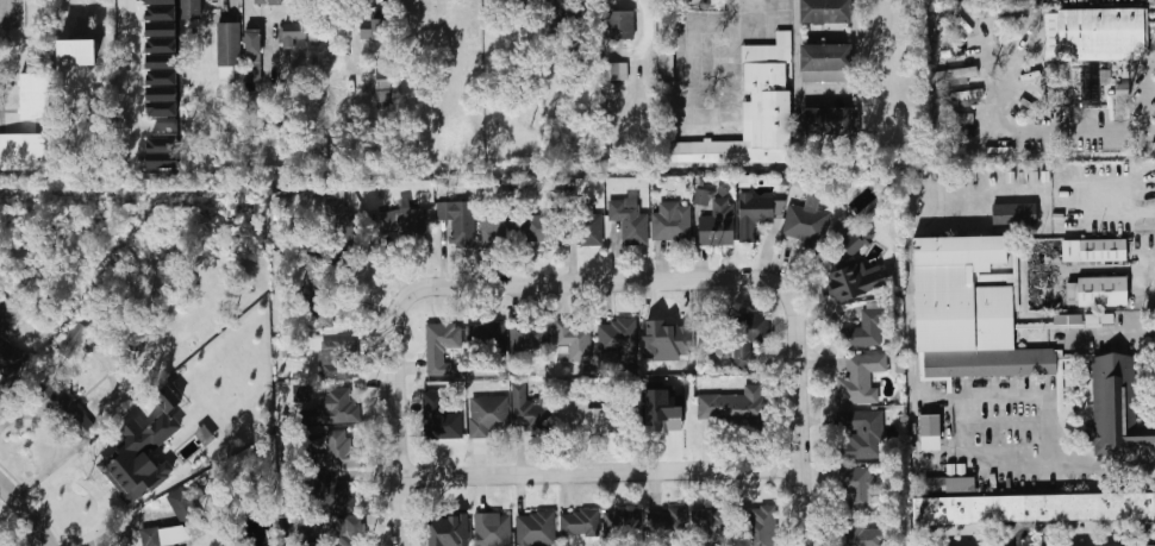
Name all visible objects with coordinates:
building: (268, 2)
building: (516, 2)
building: (1022, 2)
building: (189, 10)
building: (423, 10)
road: (5, 12)
building: (826, 12)
building: (550, 17)
building: (620, 25)
building: (161, 26)
building: (1105, 27)
building: (374, 29)
building: (292, 33)
road: (770, 36)
building: (313, 39)
building: (229, 44)
road: (794, 44)
road: (856, 45)
building: (252, 46)
building: (74, 52)
building: (825, 58)
road: (130, 62)
road: (737, 63)
building: (619, 73)
building: (964, 73)
road: (694, 74)
building: (385, 75)
building: (1092, 82)
building: (162, 86)
road: (824, 92)
building: (32, 96)
building: (961, 96)
road: (1142, 103)
building: (755, 113)
building: (959, 118)
building: (829, 120)
road: (1041, 131)
building: (23, 152)
building: (162, 152)
building: (703, 197)
building: (333, 199)
building: (756, 213)
building: (336, 215)
building: (1016, 215)
building: (460, 220)
building: (631, 222)
building: (405, 224)
building: (673, 224)
building: (718, 224)
building: (806, 224)
building: (844, 226)
building: (538, 228)
building: (591, 231)
building: (493, 232)
building: (855, 243)
building: (1104, 250)
building: (854, 281)
road: (600, 282)
building: (1104, 291)
building: (318, 309)
building: (968, 313)
building: (7, 316)
building: (1068, 320)
building: (866, 331)
building: (737, 334)
building: (529, 335)
building: (573, 337)
building: (619, 338)
building: (71, 339)
building: (487, 339)
building: (666, 340)
building: (437, 349)
building: (339, 360)
building: (861, 382)
building: (302, 393)
building: (741, 404)
building: (1118, 404)
building: (532, 406)
building: (63, 407)
building: (333, 408)
building: (661, 413)
building: (488, 415)
building: (589, 416)
building: (441, 418)
building: (930, 433)
building: (862, 435)
road: (60, 438)
building: (143, 452)
building: (327, 452)
road: (1065, 463)
road: (601, 473)
building: (947, 484)
building: (859, 488)
road: (92, 490)
building: (332, 494)
road: (29, 509)
building: (1026, 510)
building: (668, 522)
building: (580, 523)
building: (626, 523)
building: (710, 523)
building: (762, 527)
building: (448, 528)
building: (537, 528)
building: (493, 529)
building: (335, 533)
building: (169, 535)
building: (860, 535)

